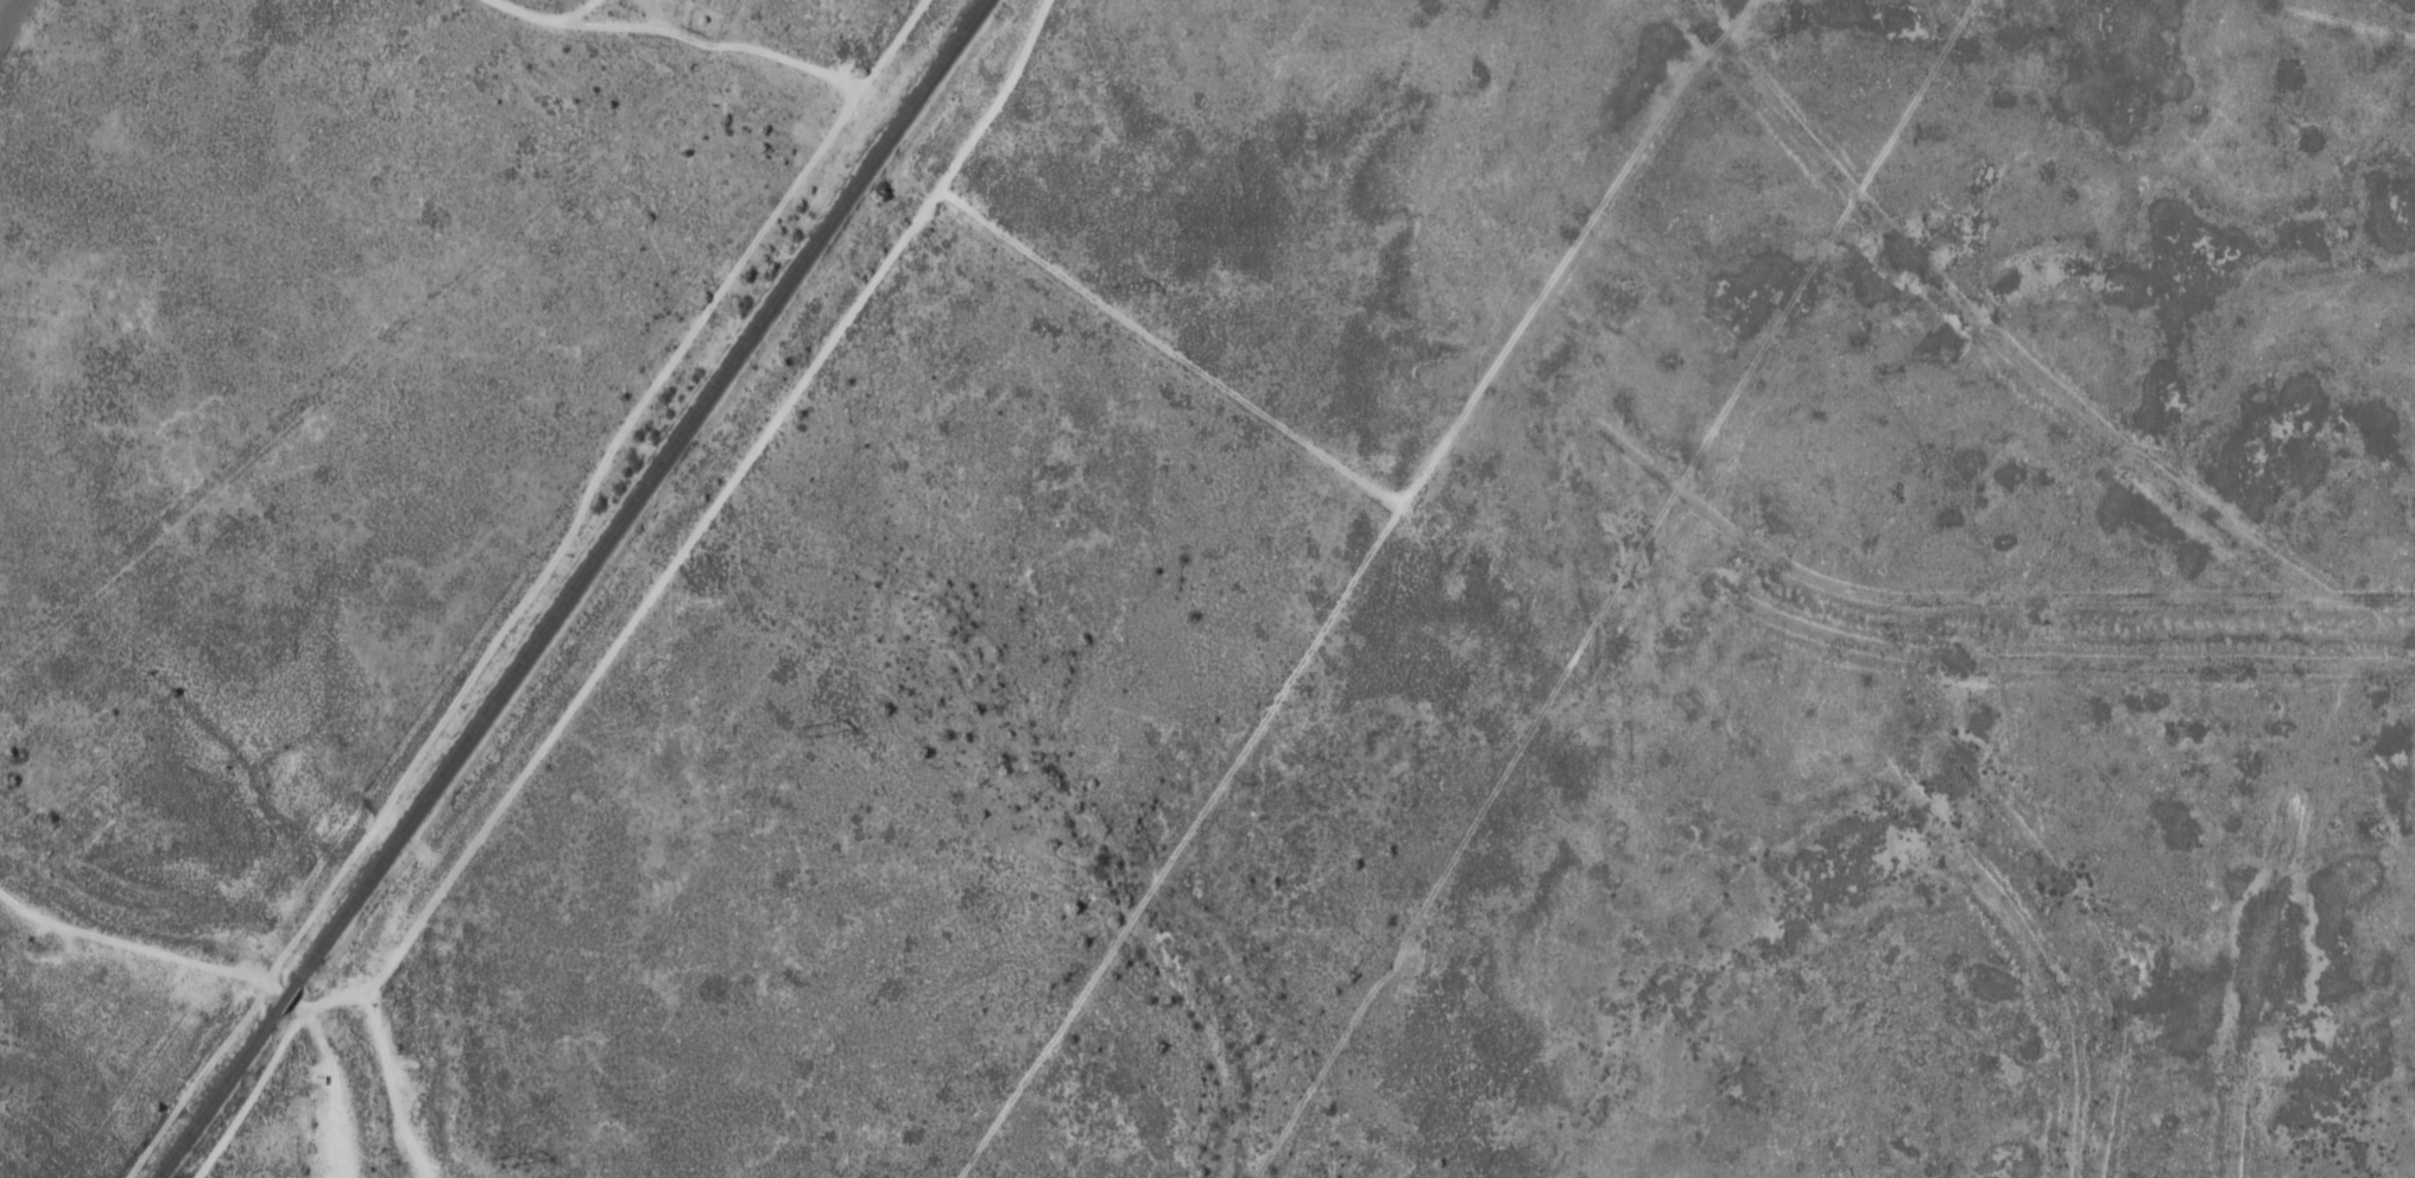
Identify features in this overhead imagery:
road: (11, 17)
power tower: (1117, 289)
railway: (638, 490)
road: (636, 579)
power tower: (808, 729)
road: (201, 847)
railway: (284, 996)
railway: (215, 1094)
power tower: (506, 1160)

